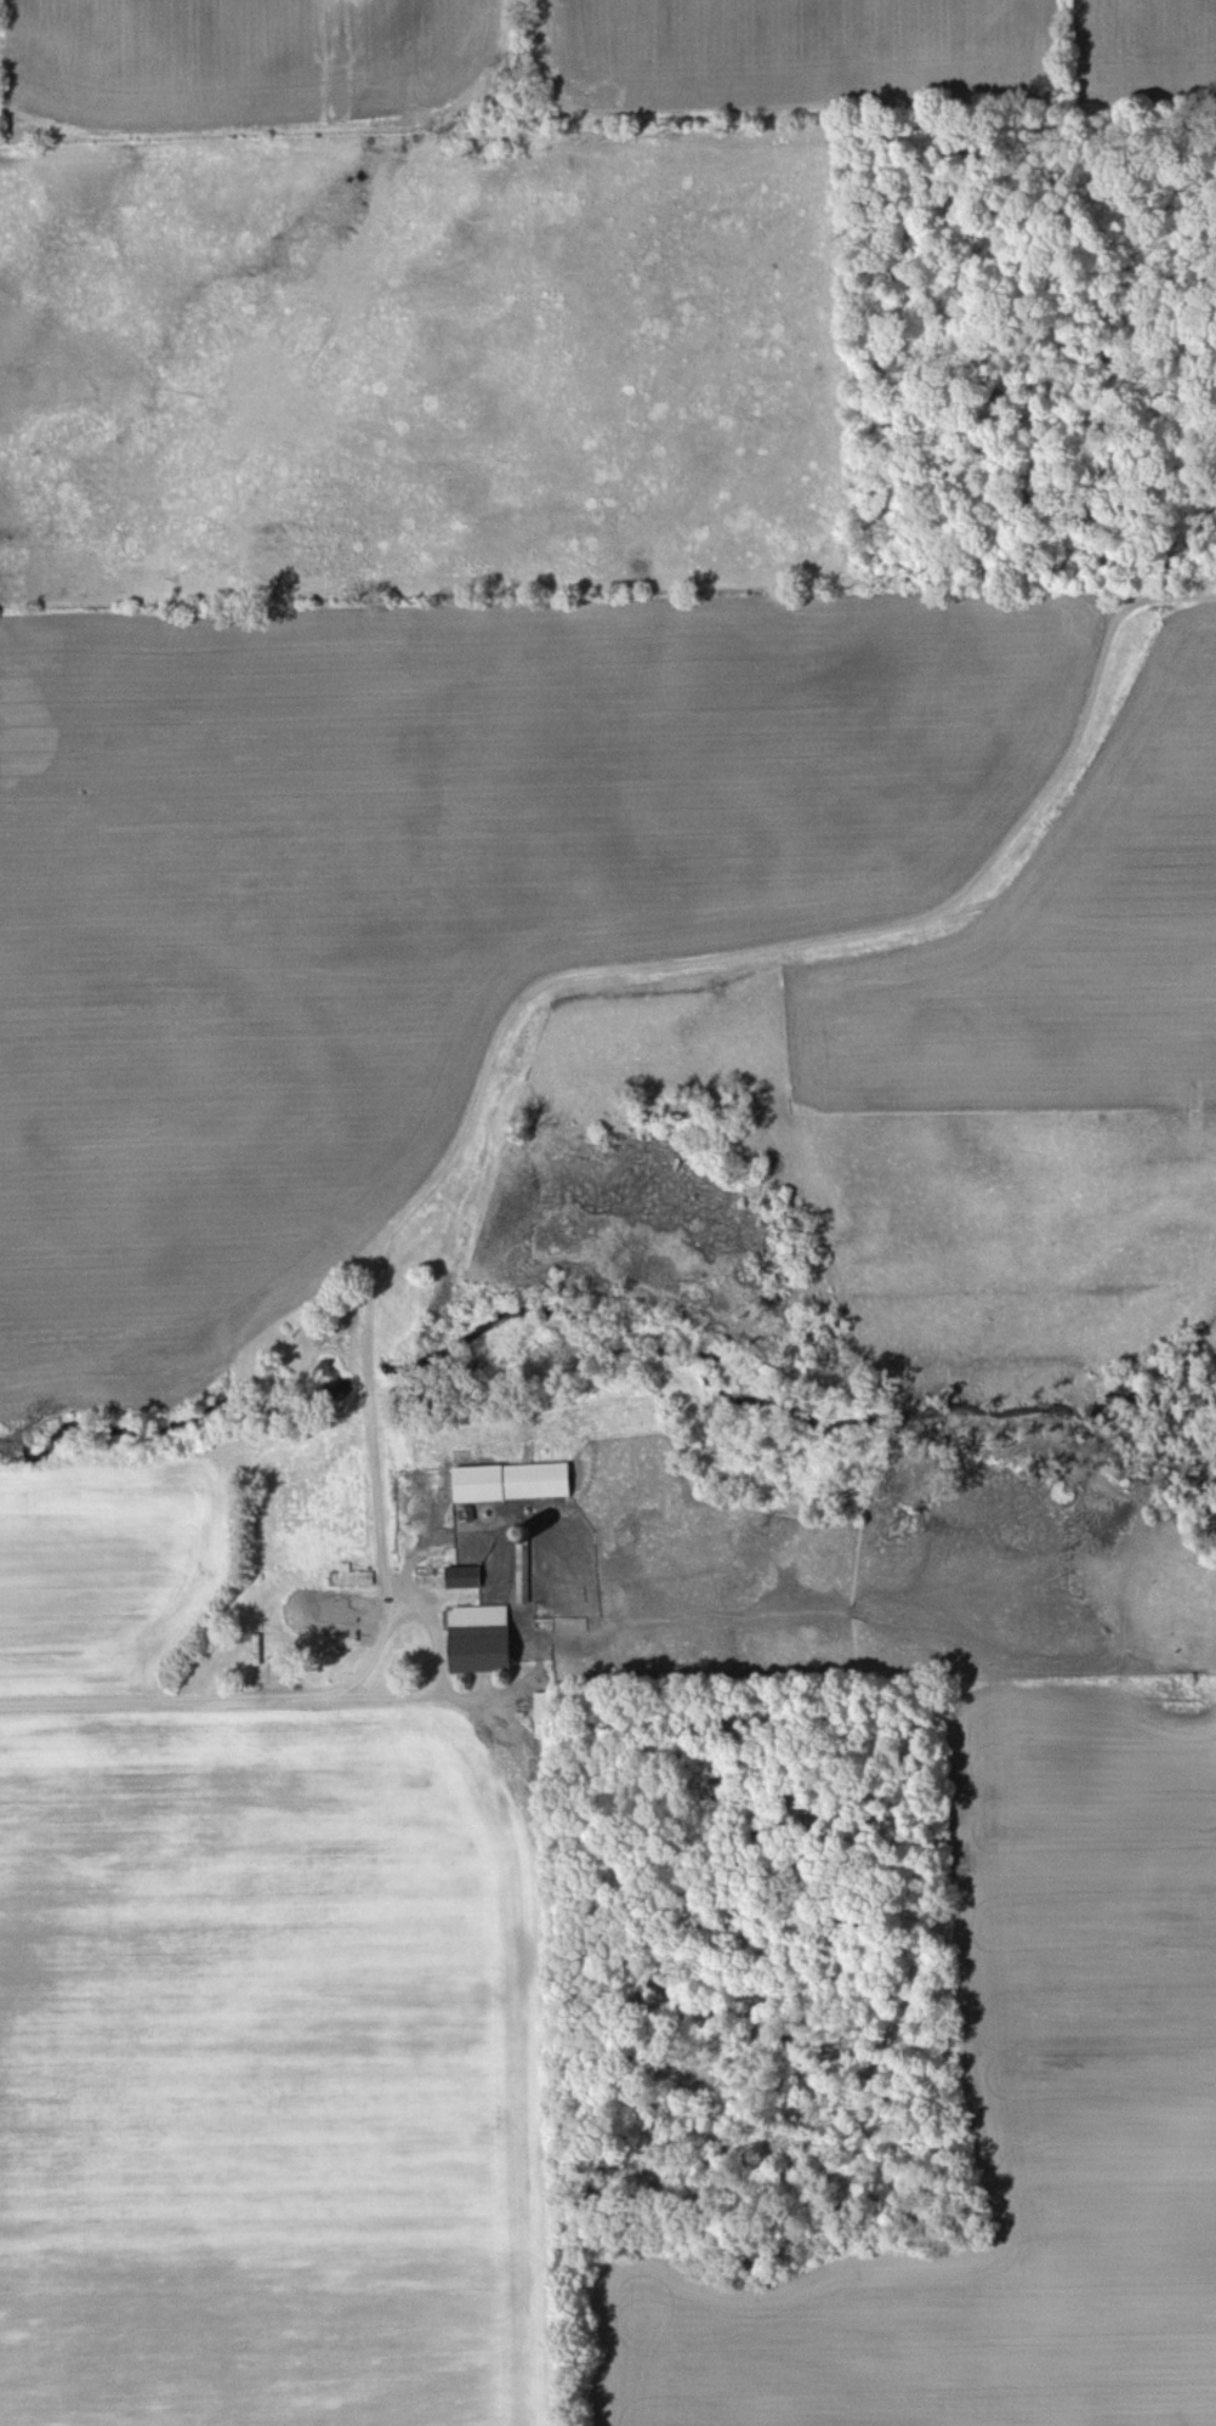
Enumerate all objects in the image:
building: (515, 1481)
building: (353, 1575)
building: (466, 1577)
building: (271, 1632)
building: (483, 1638)
building: (544, 1707)

